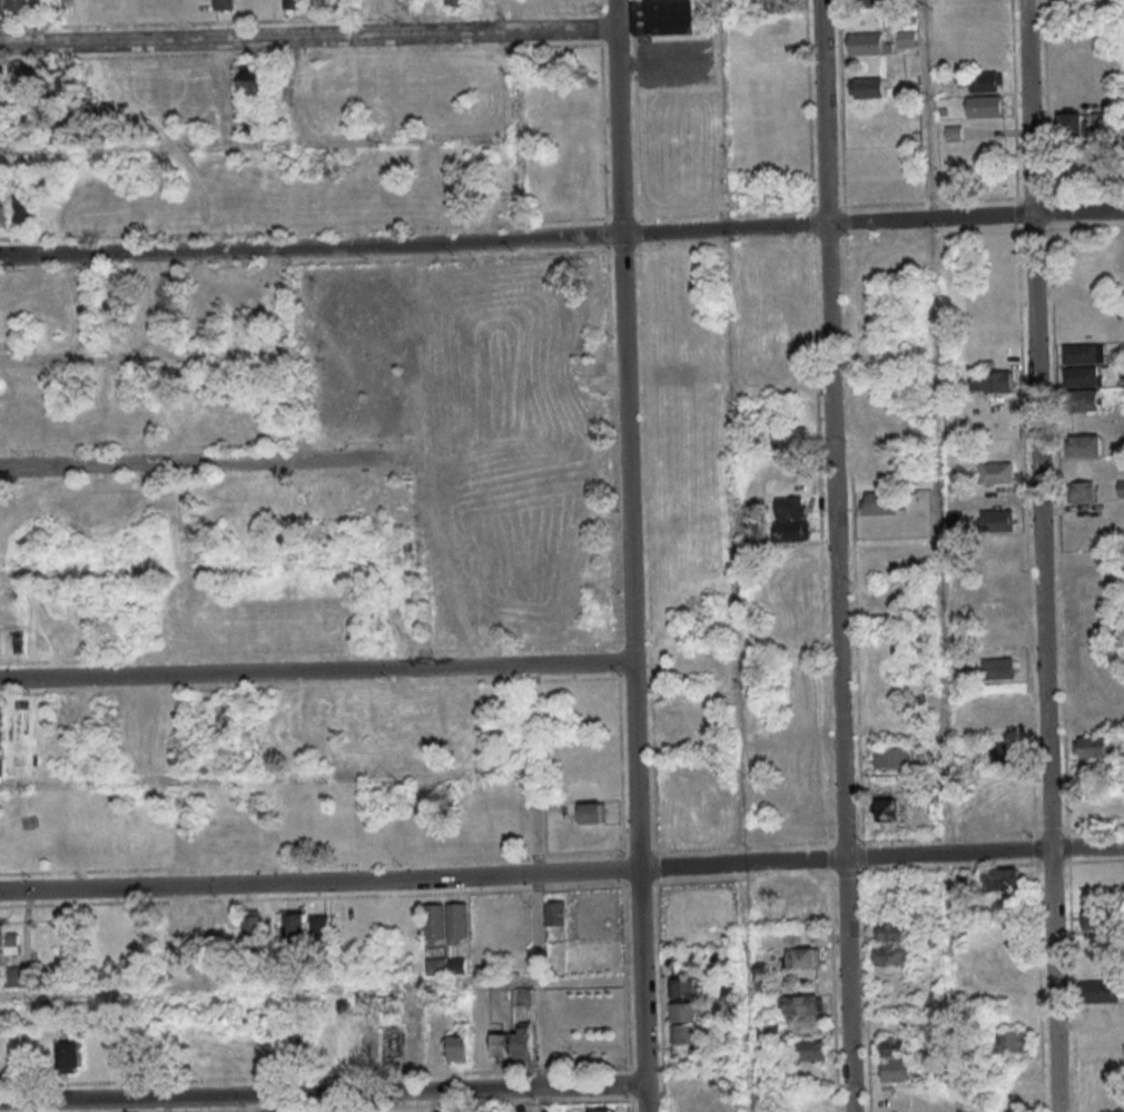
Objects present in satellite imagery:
building: (455, 2)
building: (869, 2)
building: (294, 3)
building: (316, 3)
building: (1, 4)
building: (41, 4)
building: (224, 4)
building: (779, 4)
building: (18, 6)
building: (669, 17)
road: (307, 38)
building: (906, 38)
building: (868, 43)
building: (249, 78)
building: (986, 81)
building: (66, 87)
building: (868, 88)
building: (985, 106)
road: (517, 119)
building: (1102, 119)
building: (1073, 124)
road: (259, 145)
building: (1085, 161)
building: (3, 209)
building: (22, 209)
road: (562, 237)
building: (1083, 355)
building: (1081, 377)
building: (992, 383)
building: (1081, 402)
building: (788, 440)
building: (1083, 447)
road: (185, 463)
building: (995, 474)
building: (532, 483)
building: (1120, 489)
building: (1081, 493)
building: (878, 504)
building: (789, 509)
building: (954, 519)
building: (995, 522)
building: (790, 532)
road: (629, 555)
road: (733, 555)
road: (834, 555)
road: (938, 555)
road: (1039, 555)
road: (316, 670)
building: (997, 670)
building: (1, 726)
building: (1094, 746)
building: (1002, 754)
building: (889, 759)
building: (1095, 770)
building: (886, 813)
building: (592, 815)
road: (562, 872)
building: (1003, 879)
building: (801, 888)
building: (555, 913)
building: (456, 921)
building: (433, 922)
building: (252, 925)
building: (319, 927)
building: (296, 928)
building: (889, 929)
building: (9, 939)
building: (890, 954)
building: (800, 956)
building: (436, 965)
building: (457, 966)
building: (19, 975)
building: (0, 977)
building: (681, 986)
building: (1102, 990)
building: (523, 996)
building: (802, 1003)
building: (682, 1011)
building: (767, 1030)
building: (682, 1033)
building: (523, 1041)
building: (1013, 1041)
building: (300, 1044)
building: (367, 1045)
building: (392, 1045)
building: (502, 1045)
building: (415, 1047)
building: (459, 1047)
building: (808, 1049)
building: (69, 1054)
building: (896, 1060)
road: (322, 1093)
building: (603, 1110)

